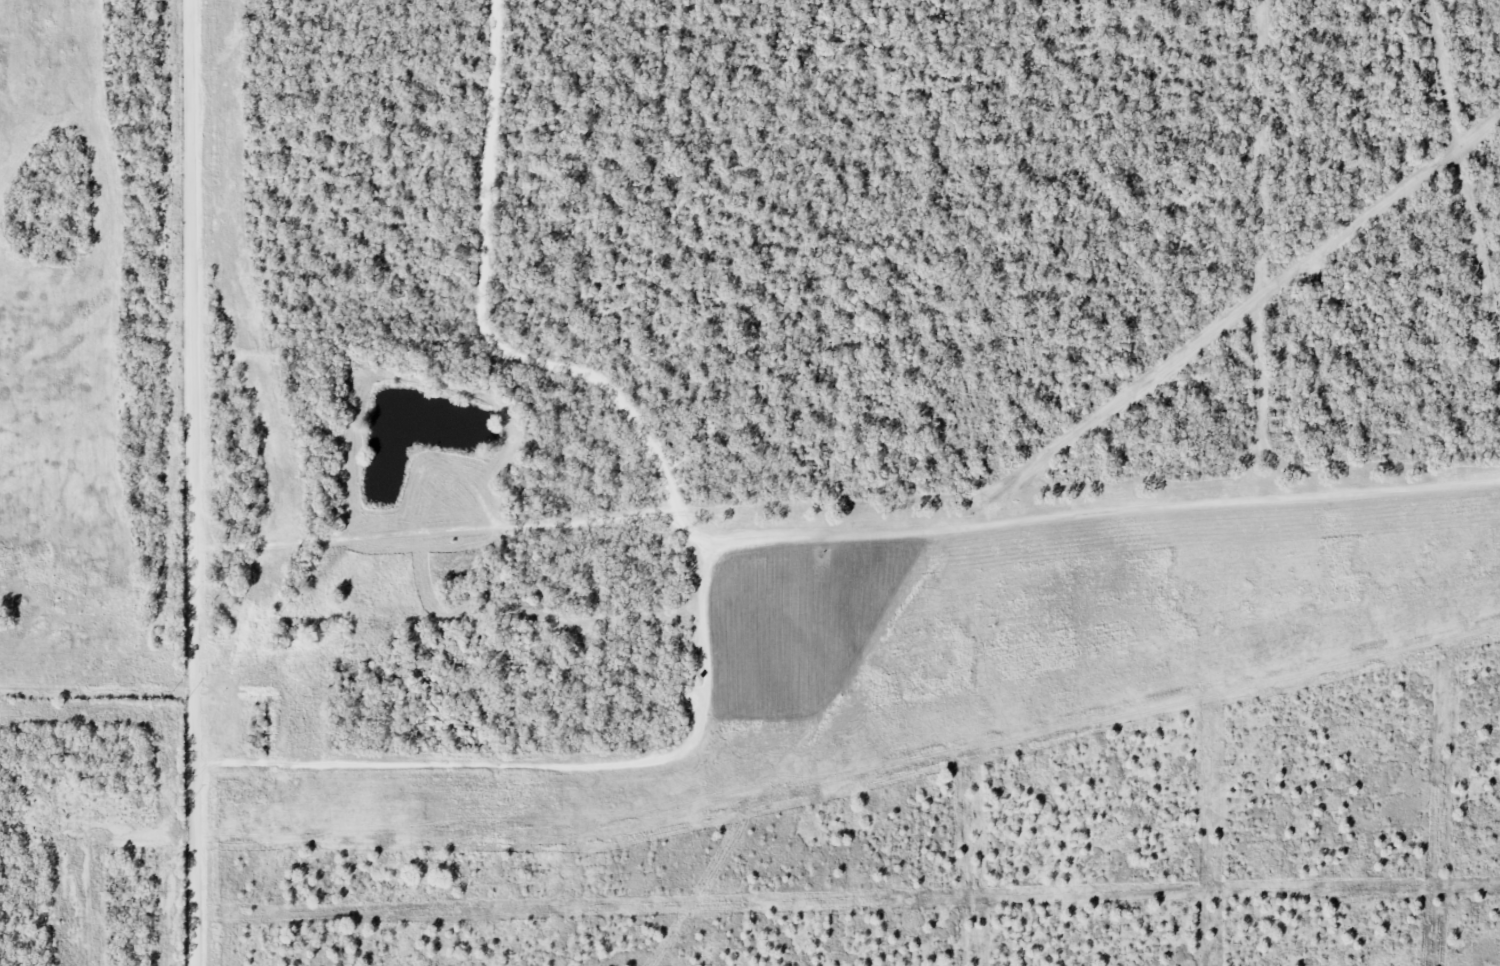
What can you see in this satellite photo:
road: (703, 664)

